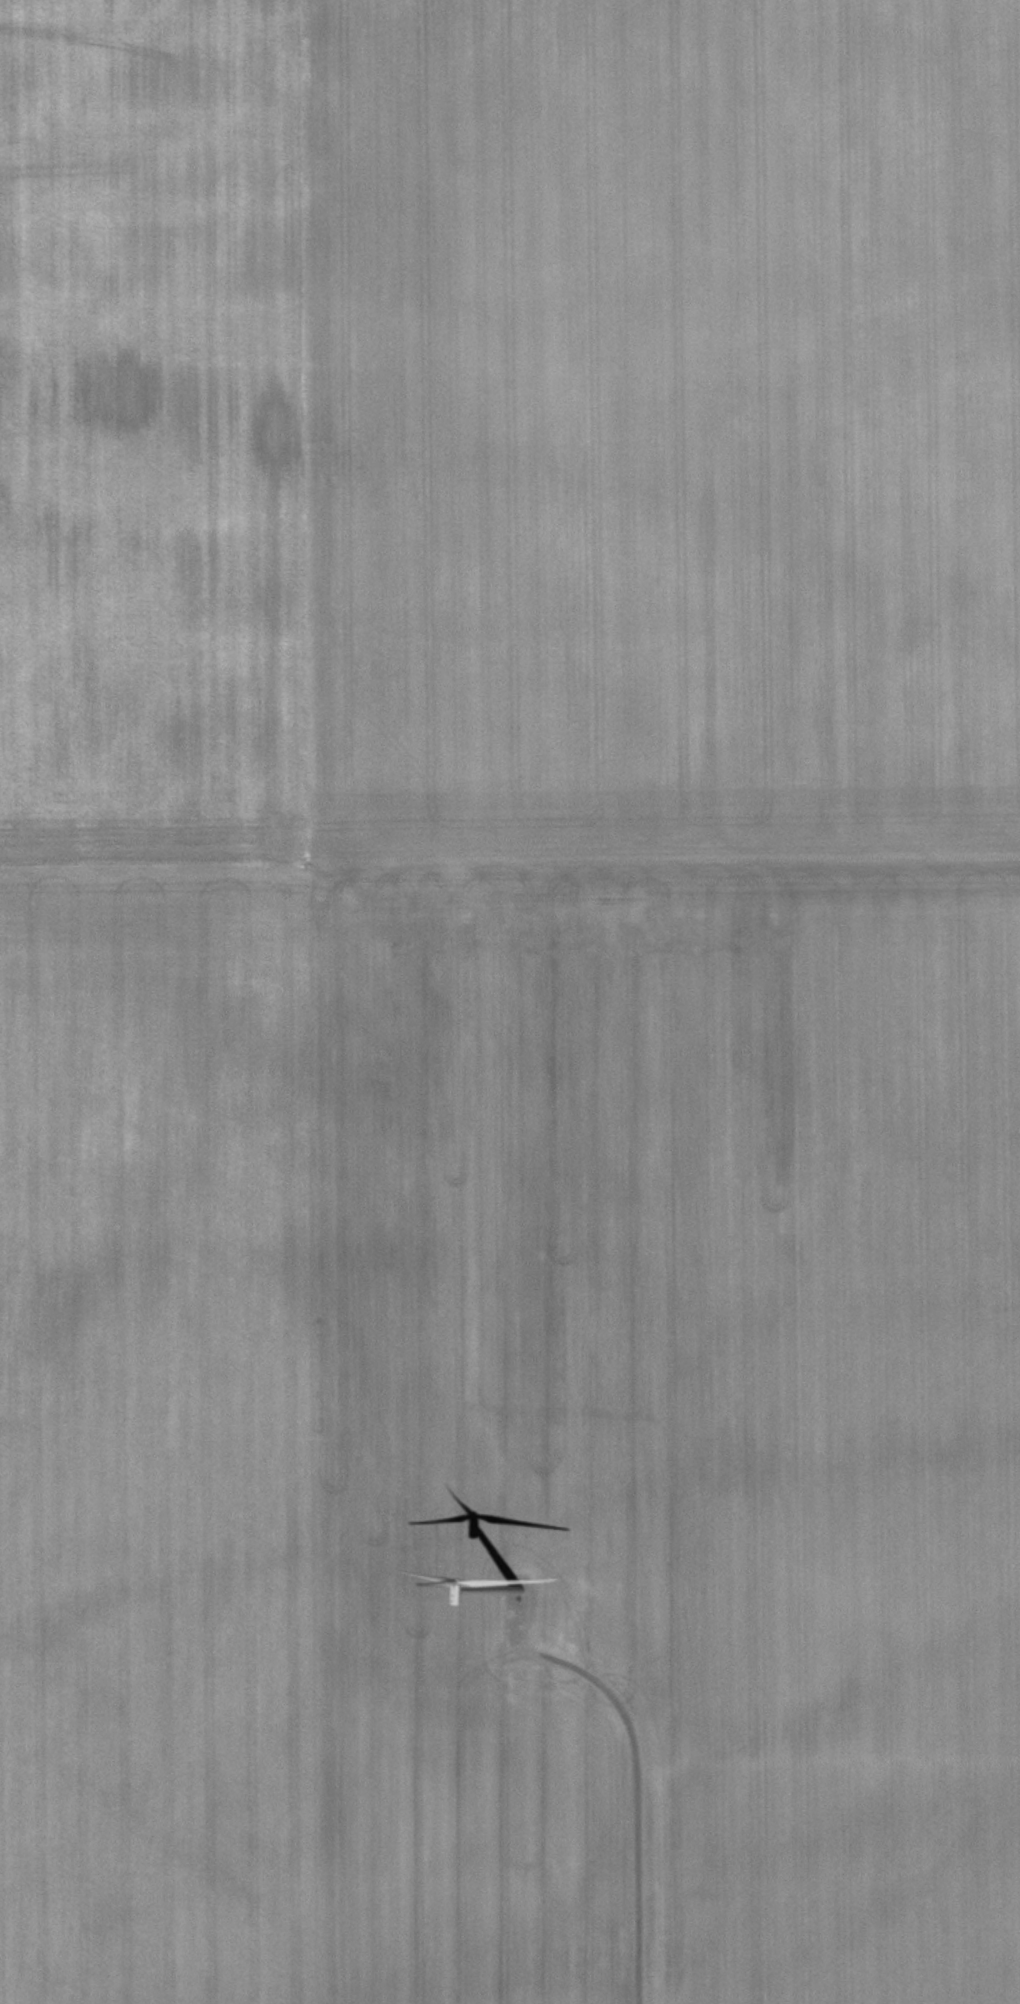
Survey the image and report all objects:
wind turbine: (509, 1566)
road: (637, 1782)

